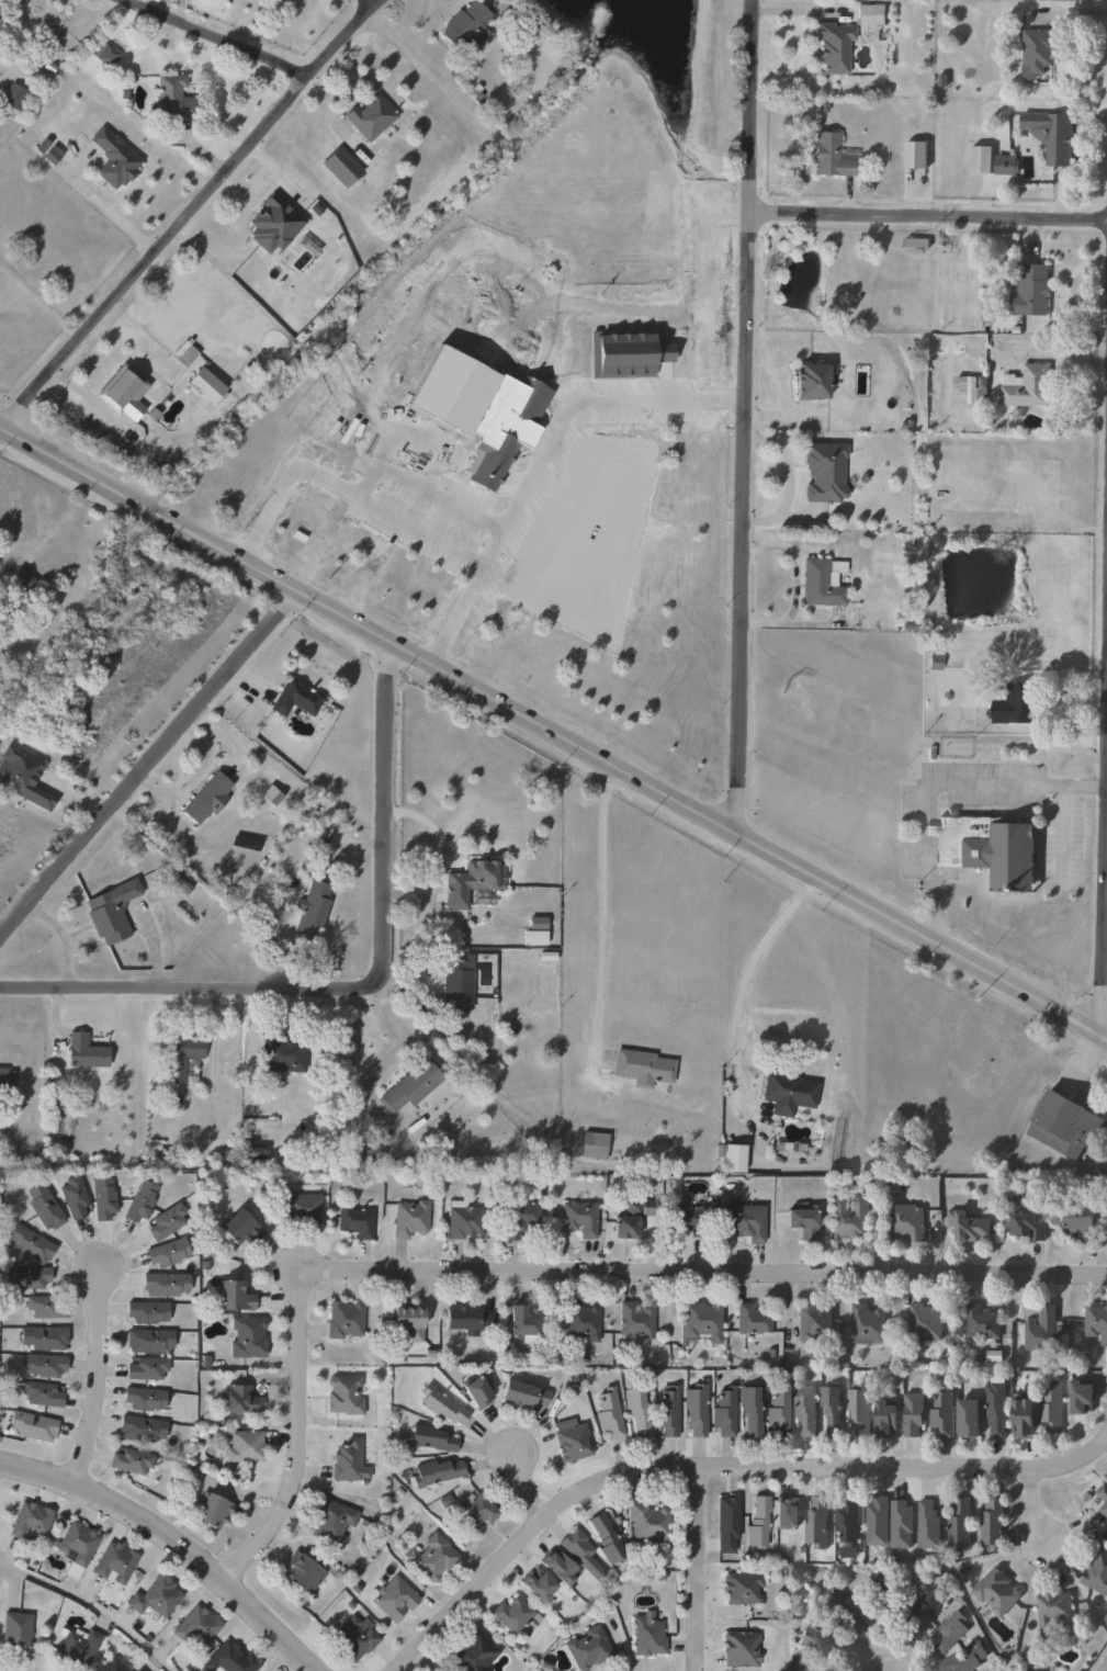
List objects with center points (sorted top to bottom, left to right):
road: (374, 1)
building: (871, 14)
building: (465, 25)
road: (219, 37)
building: (833, 45)
building: (1037, 50)
building: (103, 54)
building: (171, 94)
building: (12, 95)
building: (369, 116)
building: (1052, 136)
building: (916, 154)
building: (832, 155)
building: (112, 158)
building: (981, 159)
building: (1006, 165)
building: (340, 166)
road: (105, 208)
road: (189, 212)
road: (928, 214)
building: (915, 242)
building: (1030, 291)
building: (951, 348)
building: (628, 355)
building: (811, 381)
building: (203, 385)
building: (1026, 387)
building: (969, 391)
building: (121, 392)
road: (742, 416)
road: (0, 426)
building: (502, 437)
road: (541, 459)
building: (824, 472)
road: (421, 488)
road: (343, 492)
building: (21, 580)
building: (823, 582)
building: (935, 662)
building: (295, 698)
building: (1016, 704)
road: (553, 731)
road: (146, 755)
building: (21, 778)
road: (931, 781)
building: (206, 797)
road: (382, 803)
road: (1104, 843)
building: (986, 849)
road: (1105, 863)
building: (477, 874)
building: (309, 908)
building: (109, 911)
road: (599, 915)
building: (534, 936)
road: (187, 981)
building: (455, 984)
road: (743, 996)
building: (83, 1050)
road: (398, 1050)
building: (283, 1053)
building: (180, 1054)
building: (642, 1066)
building: (5, 1081)
building: (410, 1084)
building: (788, 1093)
building: (1062, 1124)
building: (594, 1144)
building: (906, 1144)
building: (370, 1148)
building: (253, 1152)
building: (733, 1158)
building: (72, 1196)
building: (102, 1198)
building: (138, 1201)
building: (300, 1206)
building: (42, 1207)
building: (410, 1218)
building: (578, 1218)
building: (630, 1218)
building: (463, 1219)
building: (518, 1219)
building: (688, 1219)
building: (850, 1219)
building: (165, 1221)
building: (354, 1221)
building: (744, 1221)
building: (802, 1222)
building: (905, 1222)
building: (1080, 1223)
building: (1026, 1226)
building: (967, 1227)
building: (238, 1229)
building: (29, 1243)
building: (166, 1252)
road: (533, 1271)
building: (26, 1276)
building: (162, 1284)
building: (231, 1297)
building: (44, 1307)
building: (144, 1312)
building: (464, 1319)
building: (750, 1319)
building: (342, 1320)
building: (634, 1320)
building: (580, 1321)
building: (813, 1321)
building: (407, 1322)
building: (699, 1322)
building: (923, 1322)
building: (1095, 1322)
building: (521, 1323)
building: (980, 1323)
building: (867, 1324)
building: (1041, 1330)
building: (247, 1336)
building: (42, 1337)
building: (146, 1341)
building: (42, 1365)
building: (145, 1368)
road: (98, 1373)
building: (472, 1392)
building: (39, 1395)
building: (342, 1395)
building: (520, 1395)
building: (142, 1399)
building: (1080, 1399)
building: (238, 1400)
building: (440, 1405)
building: (694, 1409)
building: (805, 1409)
building: (995, 1409)
building: (1051, 1409)
building: (749, 1410)
building: (831, 1410)
building: (859, 1410)
building: (635, 1412)
building: (667, 1412)
building: (723, 1412)
building: (777, 1412)
building: (913, 1413)
building: (942, 1413)
building: (607, 1414)
building: (884, 1418)
building: (968, 1418)
building: (31, 1425)
building: (139, 1429)
building: (428, 1438)
road: (1106, 1439)
building: (572, 1443)
building: (242, 1447)
building: (129, 1461)
building: (347, 1461)
road: (710, 1466)
building: (434, 1471)
road: (523, 1474)
building: (1103, 1495)
building: (474, 1511)
building: (788, 1511)
road: (1027, 1511)
building: (213, 1512)
building: (30, 1521)
building: (847, 1521)
building: (330, 1522)
building: (877, 1522)
building: (647, 1523)
building: (757, 1523)
building: (817, 1523)
building: (726, 1524)
building: (959, 1524)
building: (901, 1525)
building: (993, 1525)
building: (928, 1526)
road: (174, 1538)
building: (606, 1539)
building: (76, 1544)
building: (579, 1554)
building: (430, 1558)
building: (112, 1562)
building: (557, 1568)
road: (690, 1569)
building: (1096, 1572)
building: (302, 1574)
building: (536, 1587)
building: (741, 1588)
building: (996, 1592)
building: (889, 1596)
building: (154, 1597)
building: (393, 1599)
road: (89, 1606)
building: (926, 1608)
building: (1052, 1613)
building: (846, 1614)
building: (510, 1615)
building: (195, 1627)
building: (950, 1632)
building: (14, 1633)
building: (354, 1637)
building: (646, 1637)
building: (820, 1642)
building: (77, 1647)
building: (588, 1648)
building: (739, 1649)
building: (472, 1653)
road: (278, 1658)
building: (227, 1659)
building: (965, 1659)
building: (111, 1666)
building: (817, 1668)
building: (136, 1669)

